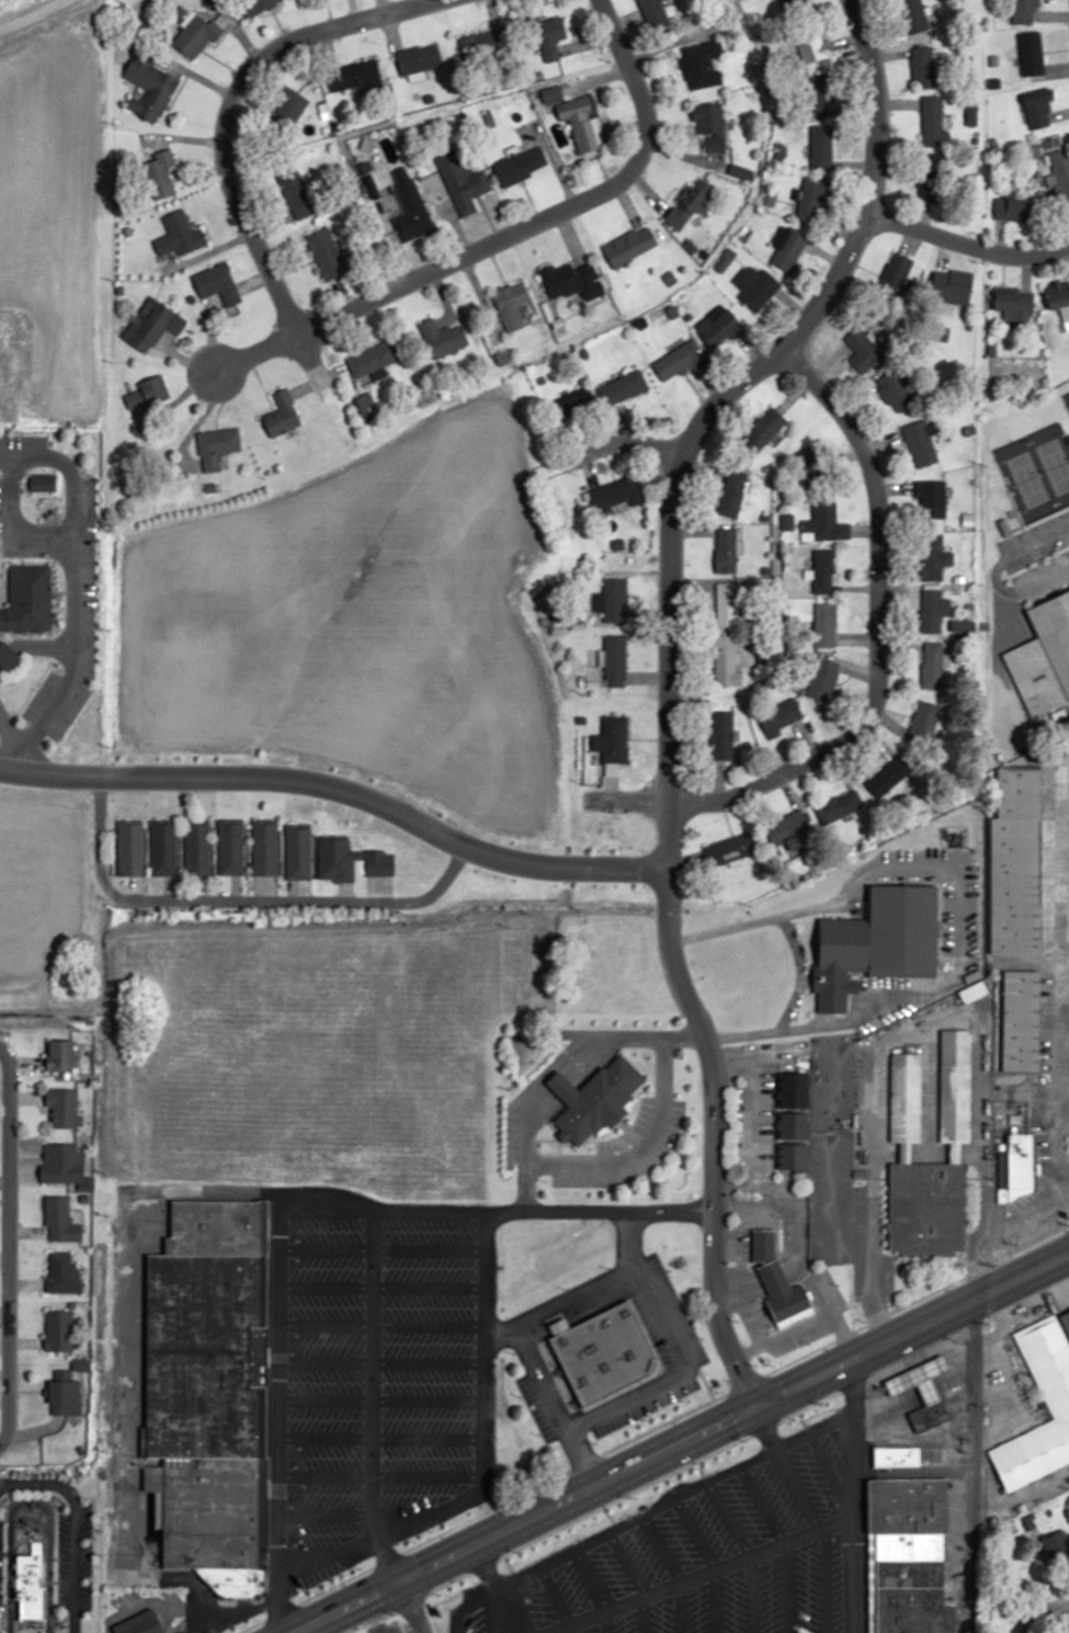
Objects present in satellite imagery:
building: (257, 5)
building: (794, 7)
building: (1024, 11)
road: (32, 13)
building: (653, 14)
building: (914, 15)
building: (194, 35)
building: (551, 39)
building: (485, 42)
building: (810, 47)
building: (1031, 54)
building: (418, 58)
building: (701, 65)
building: (922, 68)
building: (355, 76)
building: (149, 88)
building: (812, 102)
road: (226, 109)
building: (1038, 112)
building: (582, 123)
building: (932, 123)
building: (709, 127)
building: (820, 147)
building: (521, 166)
building: (1060, 173)
building: (158, 175)
building: (930, 178)
building: (462, 182)
building: (294, 192)
building: (812, 200)
building: (409, 208)
building: (1013, 209)
crop: (46, 233)
road: (503, 234)
building: (178, 236)
road: (965, 245)
building: (629, 246)
building: (789, 250)
building: (325, 253)
building: (572, 281)
building: (217, 284)
building: (754, 286)
building: (947, 293)
building: (1059, 300)
building: (511, 305)
building: (151, 324)
building: (719, 329)
building: (442, 339)
building: (862, 351)
building: (373, 359)
building: (682, 362)
building: (622, 388)
building: (897, 390)
building: (147, 398)
park: (1066, 399)
building: (571, 405)
building: (282, 415)
building: (766, 427)
building: (921, 442)
road: (635, 443)
building: (216, 446)
road: (585, 468)
park: (1035, 472)
building: (42, 481)
building: (731, 492)
building: (617, 494)
building: (930, 500)
building: (823, 521)
building: (726, 549)
building: (937, 557)
building: (823, 570)
parking lot: (1026, 574)
parking lot: (77, 596)
building: (611, 599)
building: (29, 600)
building: (727, 604)
building: (934, 609)
road: (648, 613)
building: (826, 624)
road: (875, 631)
building: (9, 655)
building: (1044, 656)
building: (613, 659)
building: (725, 659)
building: (933, 665)
parking lot: (1, 667)
road: (664, 670)
road: (646, 677)
building: (822, 677)
building: (780, 716)
building: (924, 719)
building: (721, 734)
parking lot: (19, 738)
building: (610, 741)
building: (890, 773)
road: (609, 789)
road: (338, 790)
road: (622, 798)
building: (839, 805)
building: (789, 831)
building: (129, 846)
building: (230, 846)
building: (162, 847)
building: (197, 847)
building: (264, 847)
building: (729, 849)
building: (298, 852)
building: (1016, 862)
road: (133, 886)
road: (166, 887)
road: (201, 887)
road: (234, 887)
road: (265, 887)
road: (298, 891)
road: (241, 901)
crop: (46, 906)
road: (751, 923)
building: (878, 942)
road: (943, 983)
building: (1021, 1020)
building: (60, 1055)
road: (550, 1067)
road: (559, 1077)
road: (567, 1082)
road: (572, 1087)
building: (954, 1091)
building: (594, 1098)
building: (905, 1101)
building: (62, 1108)
parking lot: (640, 1115)
building: (792, 1121)
road: (627, 1131)
parking lot: (509, 1134)
parking lot: (610, 1144)
parking lot: (662, 1146)
road: (556, 1147)
road: (637, 1149)
road: (583, 1155)
building: (1016, 1163)
building: (65, 1166)
building: (926, 1210)
road: (420, 1213)
building: (60, 1220)
road: (7, 1245)
building: (764, 1245)
road: (379, 1251)
building: (61, 1273)
road: (379, 1286)
road: (482, 1293)
building: (782, 1293)
parking lot: (675, 1308)
building: (1065, 1320)
road: (379, 1327)
parking lot: (651, 1328)
building: (58, 1330)
building: (604, 1353)
parking lot: (424, 1359)
road: (379, 1363)
parking lot: (1012, 1376)
building: (1051, 1380)
parking lot: (322, 1381)
road: (705, 1385)
building: (68, 1388)
building: (924, 1392)
building: (209, 1393)
road: (368, 1393)
road: (379, 1399)
traffic signals: (750, 1400)
parking lot: (642, 1408)
parking lot: (533, 1409)
road: (598, 1411)
road: (277, 1414)
road: (652, 1429)
building: (902, 1432)
road: (379, 1438)
road: (673, 1438)
road: (579, 1452)
building: (903, 1456)
road: (970, 1463)
road: (127, 1467)
road: (379, 1475)
road: (849, 1493)
road: (29, 1502)
road: (453, 1504)
road: (323, 1516)
parking lot: (84, 1520)
road: (71, 1528)
building: (911, 1554)
parking lot: (84, 1560)
parking lot: (59, 1562)
parking lot: (704, 1563)
traffic signals: (395, 1576)
parking lot: (314, 1577)
building: (31, 1581)
parking lot: (84, 1597)
road: (144, 1601)
road: (408, 1603)
road: (1028, 1613)
parking lot: (224, 1622)
building: (140, 1624)

